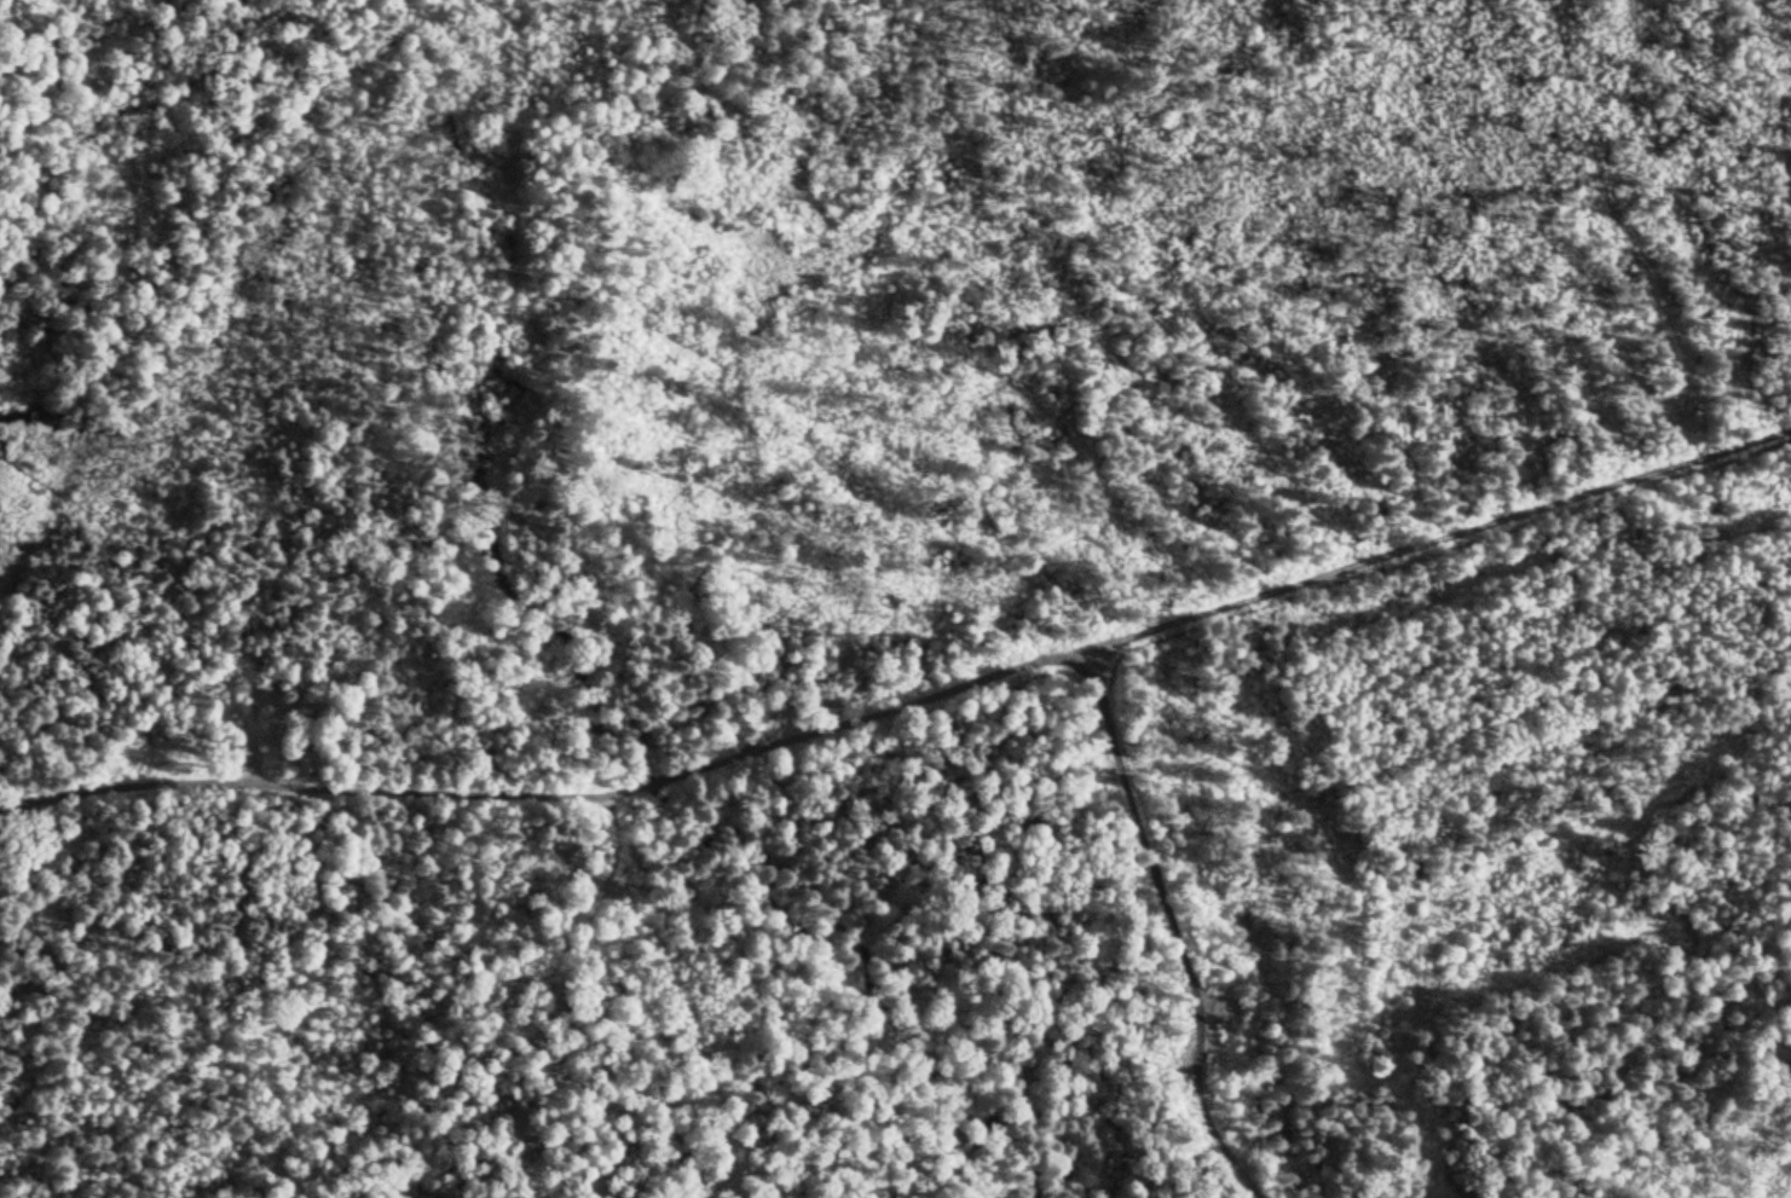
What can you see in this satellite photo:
road: (907, 700)
road: (1175, 926)

